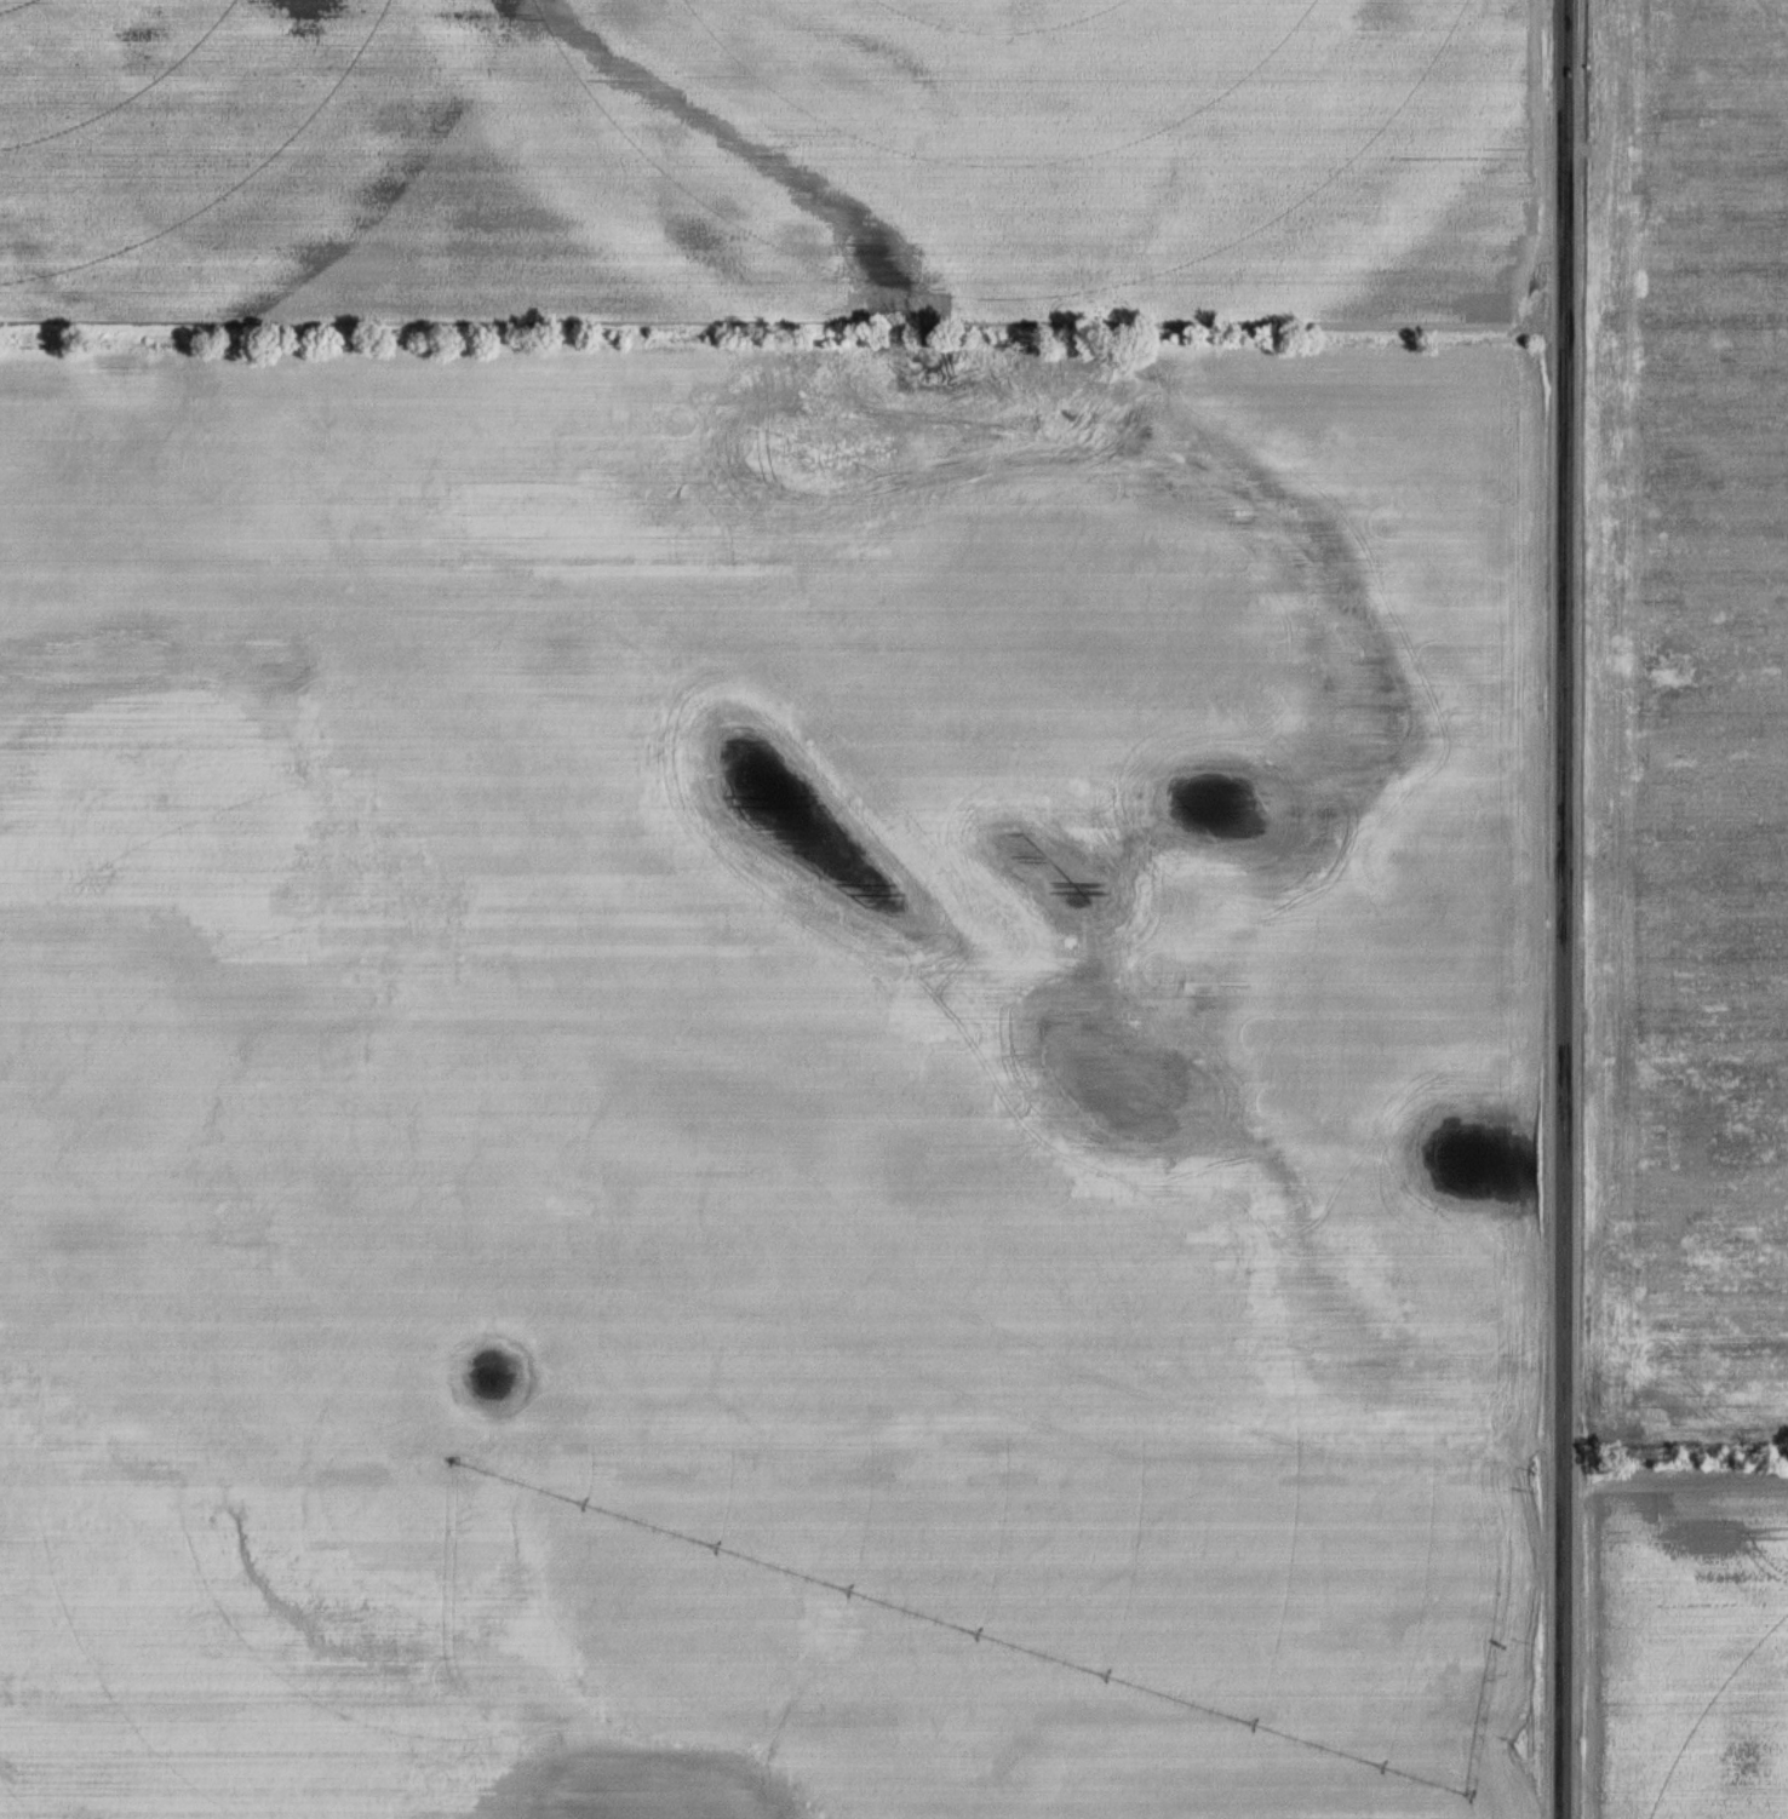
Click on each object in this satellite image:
road: (1563, 909)

